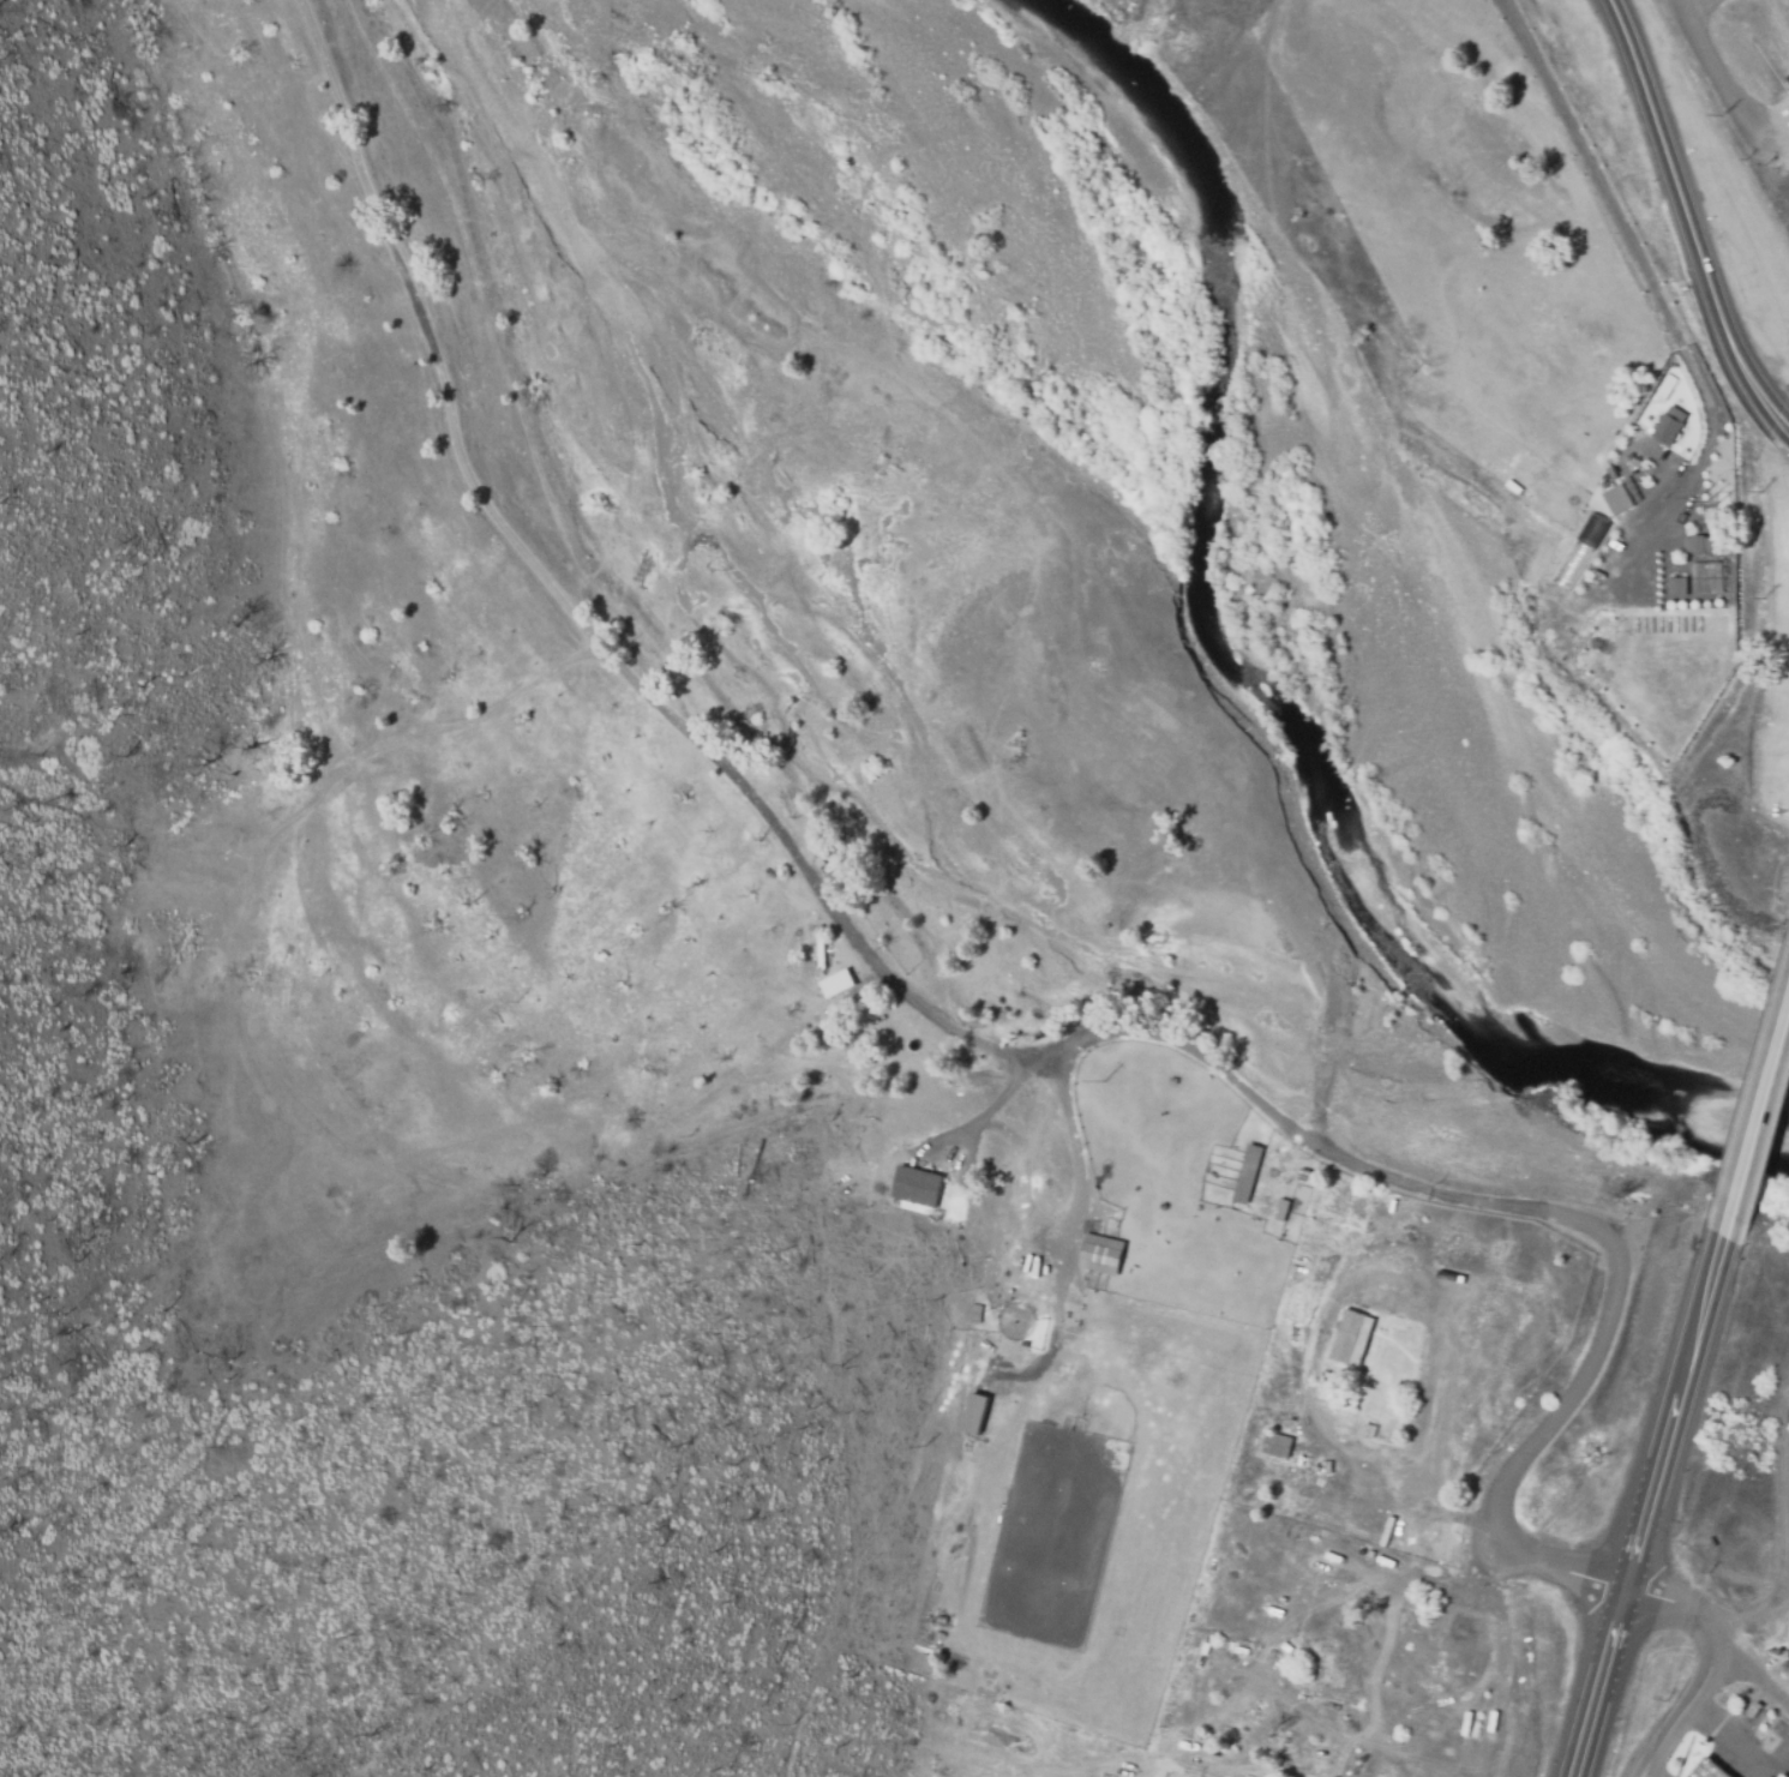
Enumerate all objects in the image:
road: (1699, 12)
road: (1717, 78)
road: (505, 212)
road: (1693, 212)
building: (1667, 428)
building: (1615, 499)
road: (1069, 527)
building: (1695, 544)
building: (1676, 586)
building: (202, 810)
building: (206, 887)
building: (838, 983)
road: (929, 1007)
road: (272, 1109)
road: (1758, 1113)
building: (1247, 1172)
building: (935, 1187)
building: (1281, 1209)
building: (1100, 1253)
crop: (1788, 1311)
building: (1350, 1335)
building: (975, 1413)
building: (1277, 1442)
road: (1650, 1499)
road: (1782, 1537)
road: (1743, 1609)
building: (1386, 1626)
building: (1466, 1629)
building: (1404, 1662)
water tower: (1788, 1665)
road: (1703, 1668)
road: (1747, 1676)
building: (1243, 1713)
building: (1709, 1767)
building: (1781, 1775)
road: (1640, 1776)

